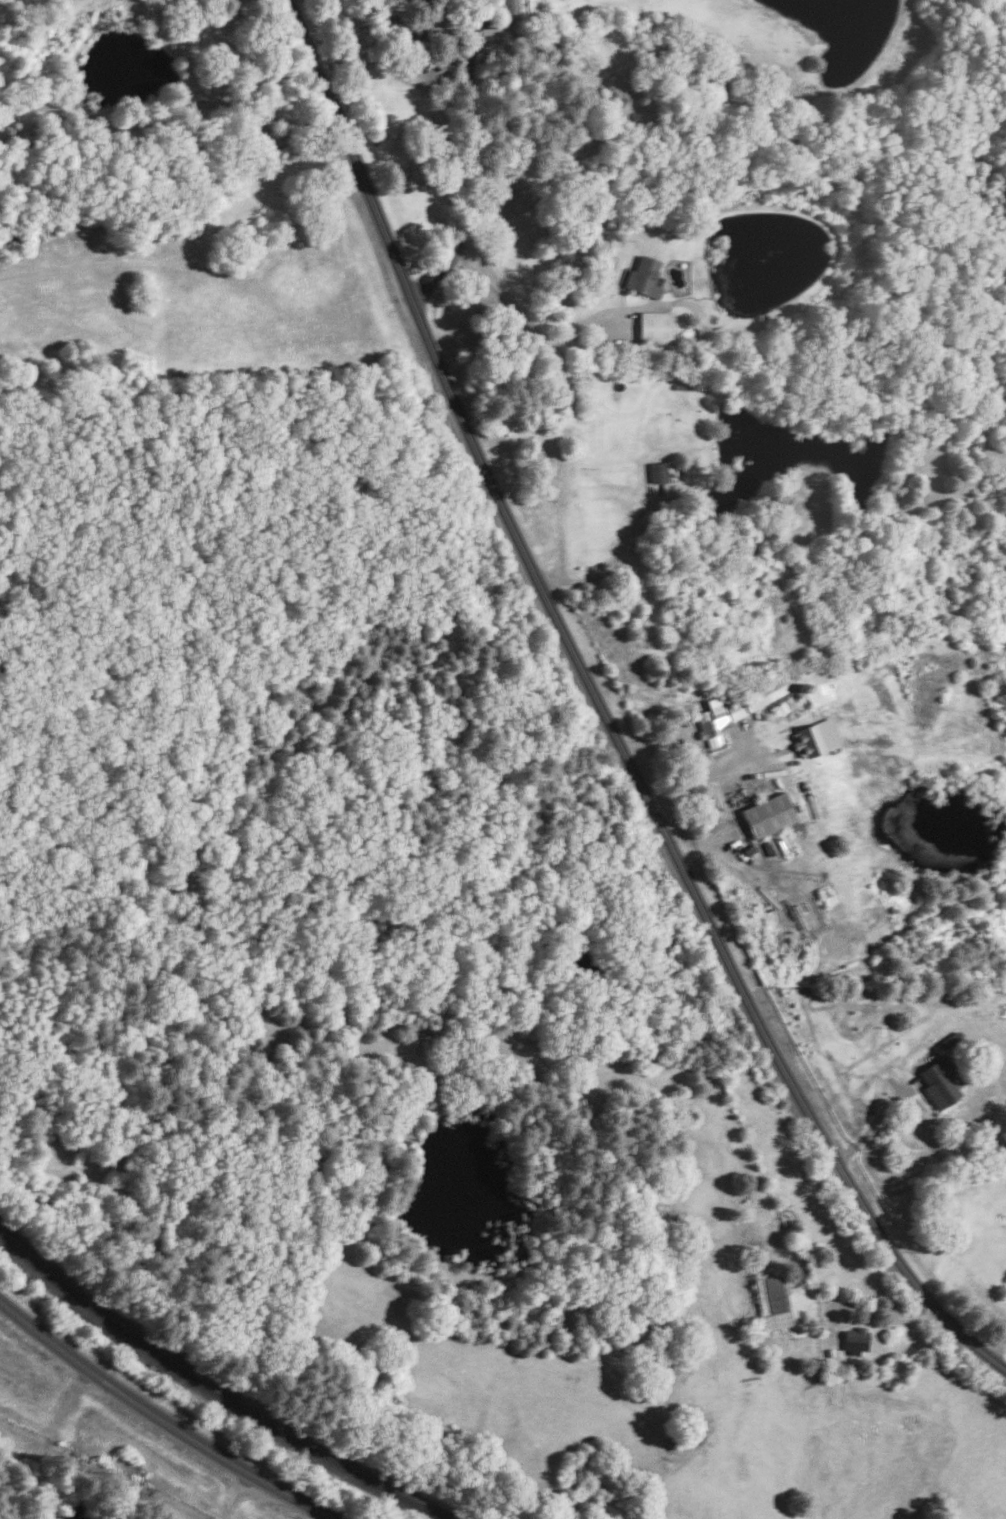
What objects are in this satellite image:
building: (511, 6)
building: (492, 39)
road: (174, 109)
road: (470, 161)
building: (643, 276)
road: (528, 321)
building: (654, 326)
building: (658, 471)
road: (592, 580)
building: (761, 700)
road: (601, 711)
building: (815, 737)
road: (706, 775)
building: (768, 814)
building: (951, 1039)
building: (941, 1081)
road: (875, 1115)
building: (772, 1301)
building: (855, 1340)
railway: (215, 1392)
road: (163, 1418)
road: (237, 1495)

